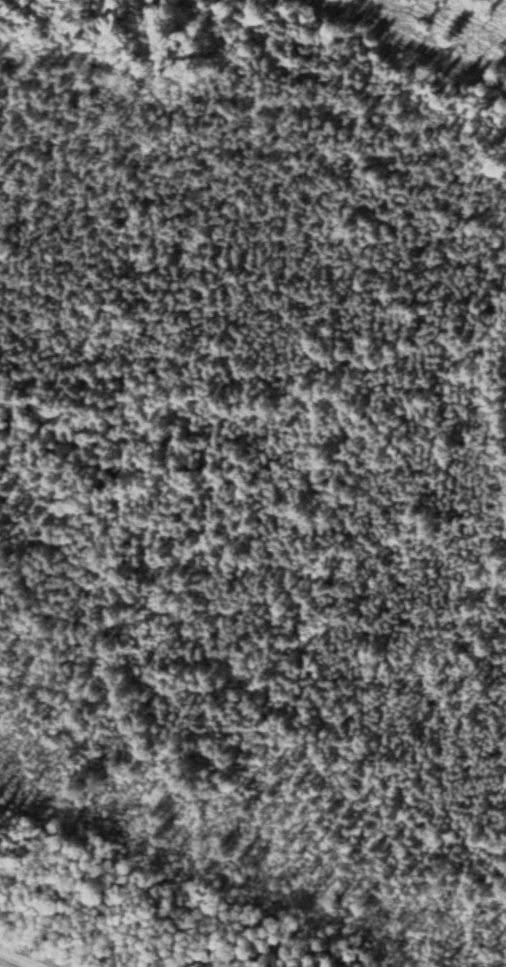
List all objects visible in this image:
road: (416, 42)

